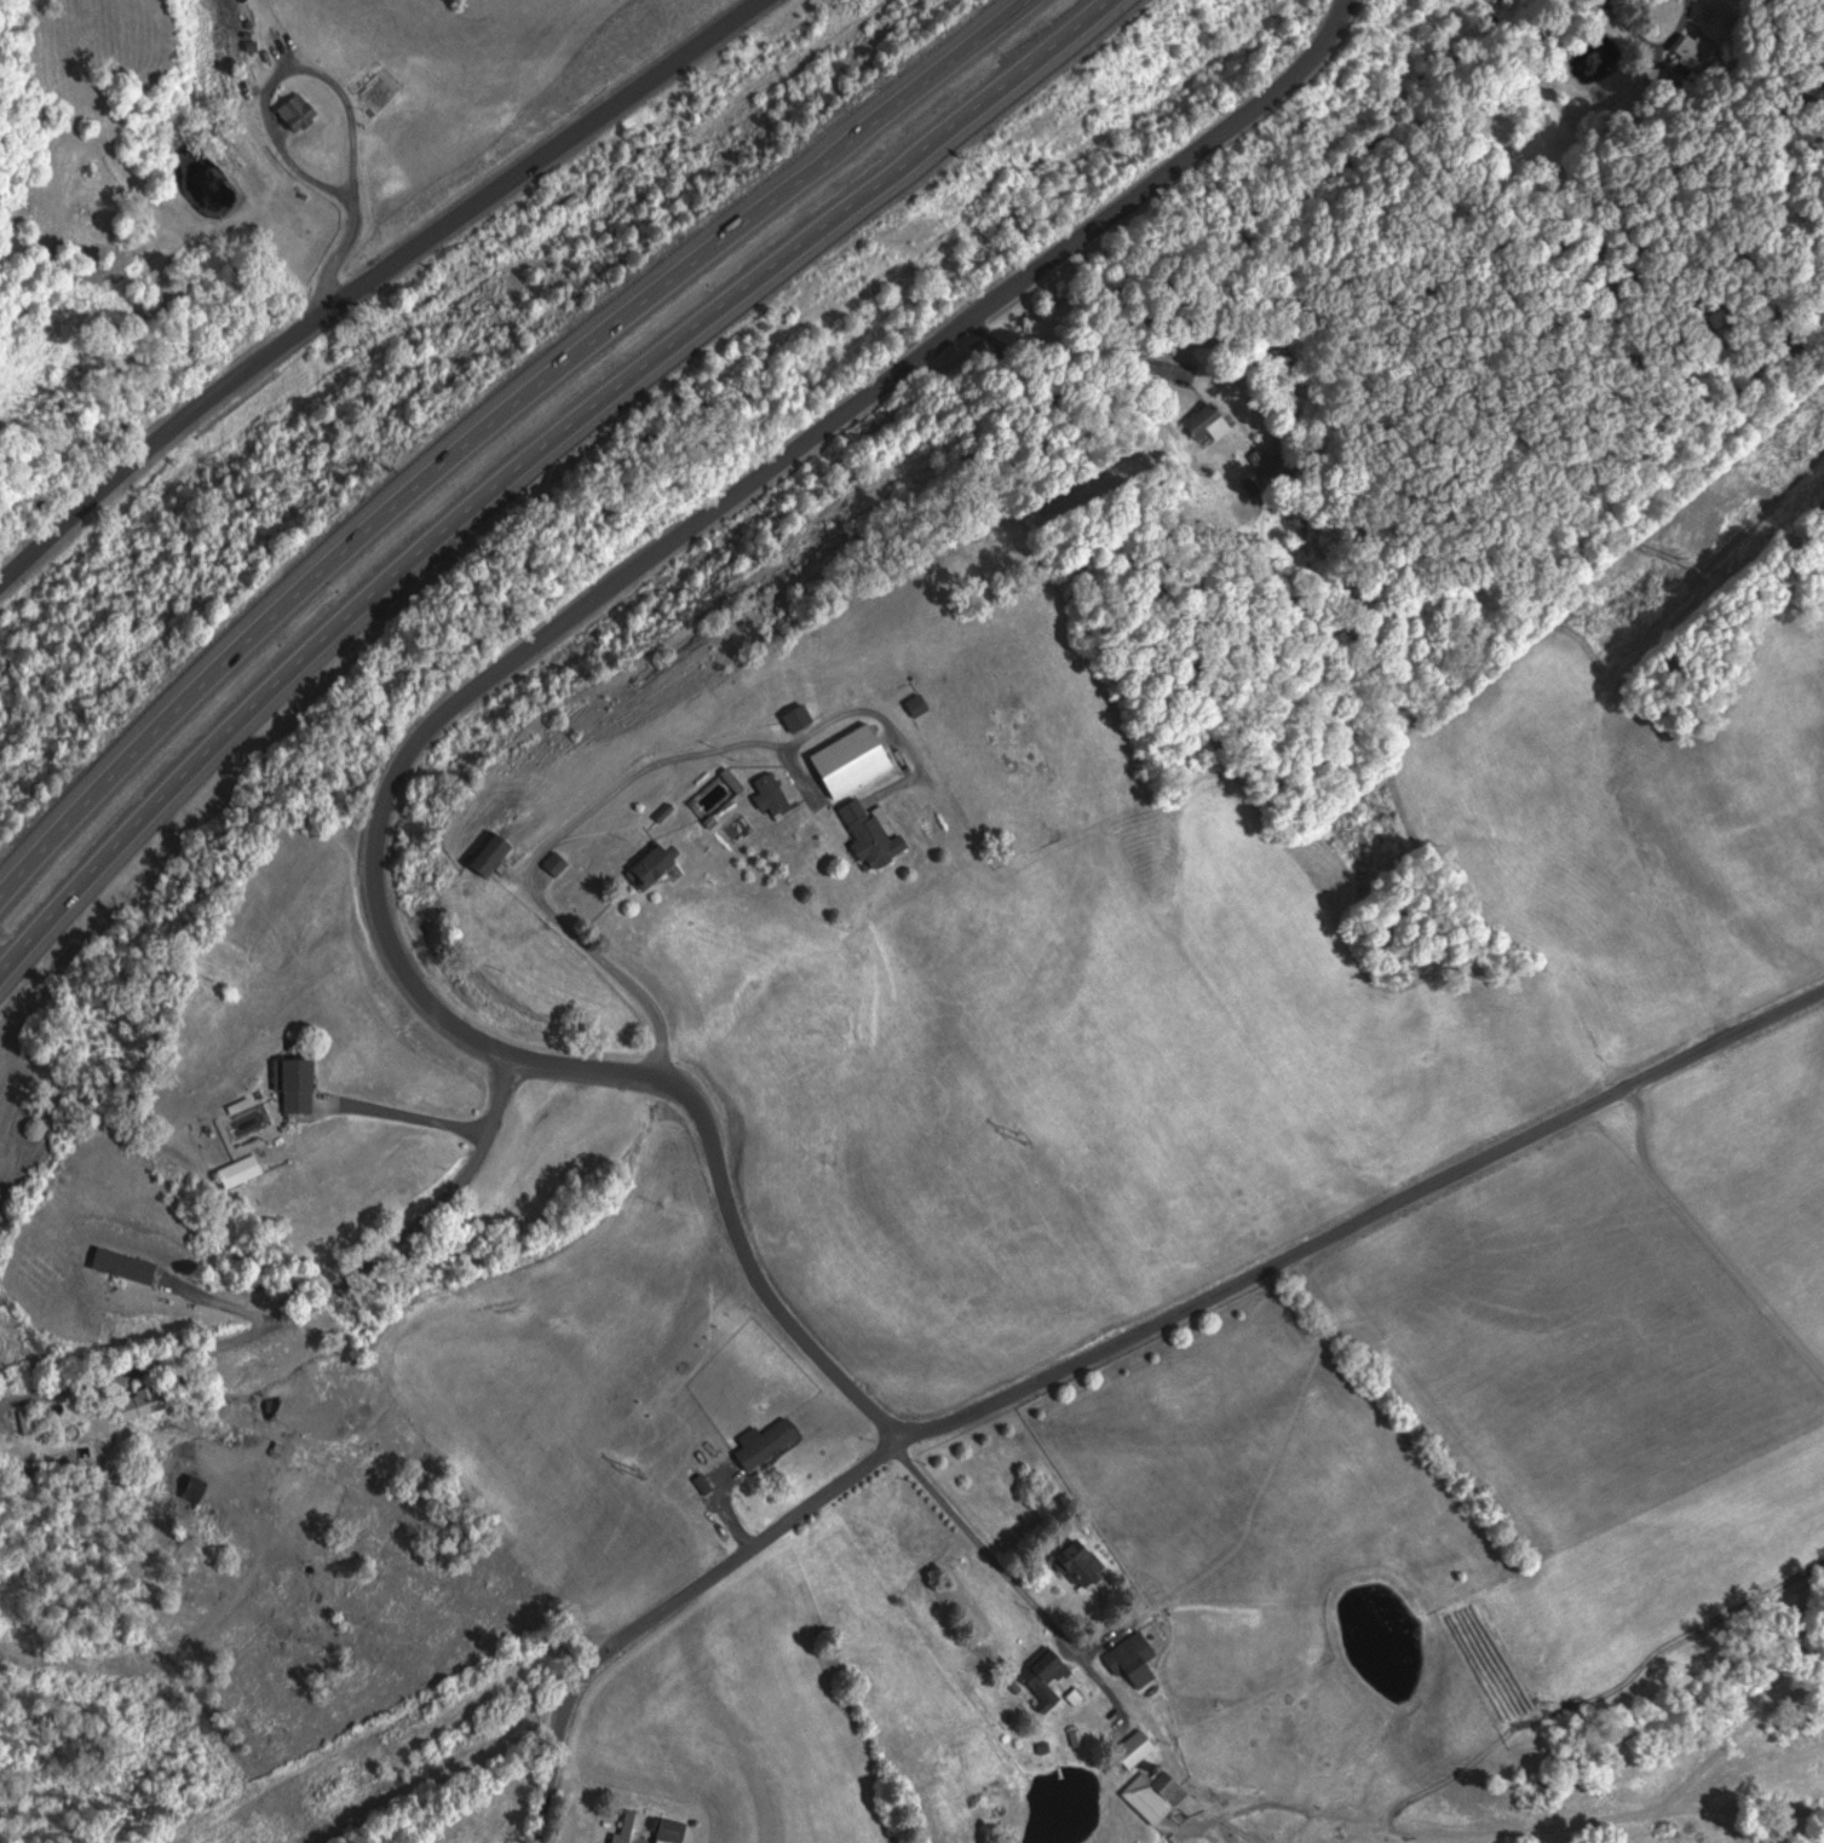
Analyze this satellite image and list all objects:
road: (1685, 8)
building: (1693, 54)
building: (295, 109)
road: (271, 121)
road: (366, 278)
road: (495, 425)
road: (533, 459)
road: (736, 488)
building: (922, 704)
building: (802, 716)
building: (857, 759)
building: (776, 794)
building: (875, 835)
road: (543, 865)
building: (657, 866)
road: (0, 969)
building: (304, 1084)
road: (431, 1116)
power tower: (1022, 1148)
building: (246, 1170)
road: (726, 1208)
road: (1370, 1213)
road: (362, 1267)
building: (145, 1401)
building: (772, 1444)
power tower: (632, 1465)
building: (200, 1485)
road: (743, 1519)
building: (1087, 1562)
road: (1023, 1582)
road: (672, 1599)
building: (1137, 1659)
building: (1049, 1670)
building: (1106, 1707)
building: (1077, 1743)
building: (1139, 1749)
building: (1160, 1792)
building: (637, 1827)
building: (677, 1831)

